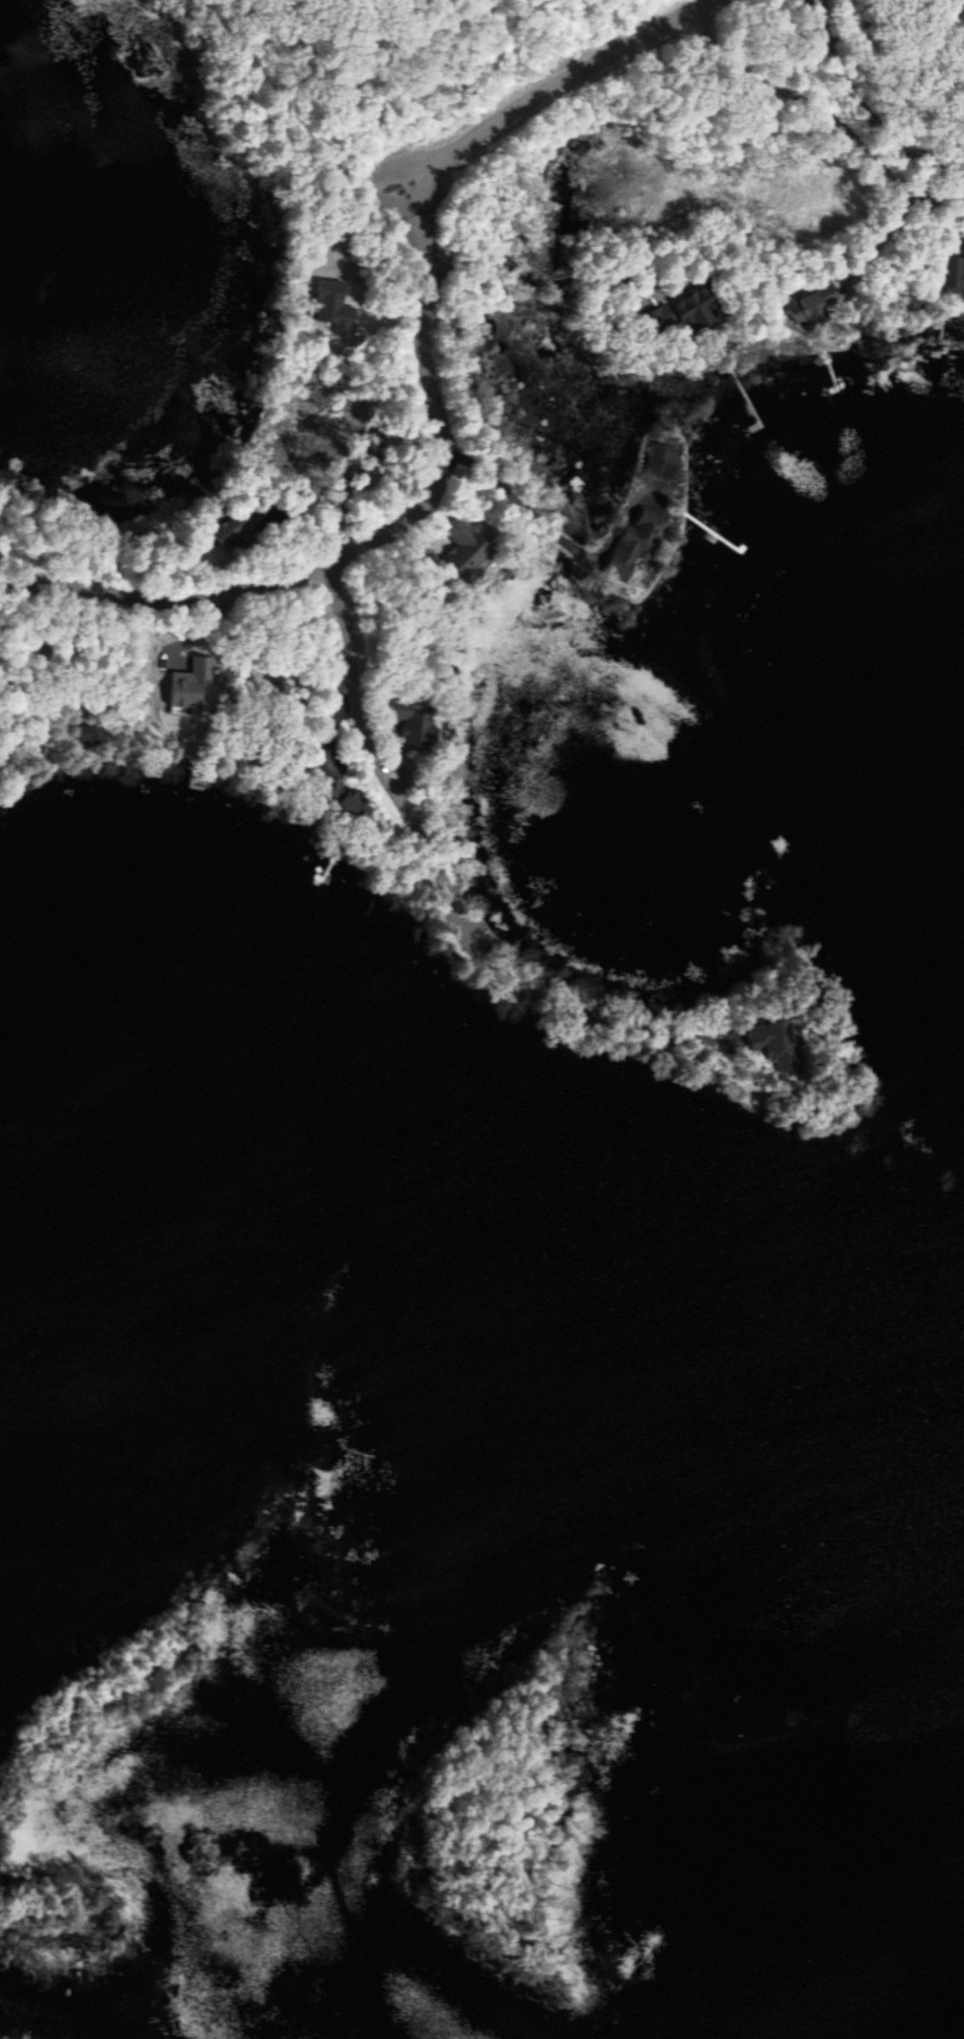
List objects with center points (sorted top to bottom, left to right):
road: (223, 20)
road: (553, 87)
road: (861, 109)
road: (310, 129)
building: (955, 273)
building: (809, 305)
building: (676, 312)
building: (663, 463)
building: (234, 531)
road: (379, 539)
building: (632, 546)
building: (458, 549)
building: (407, 726)
road: (367, 759)
road: (580, 1018)
building: (762, 1044)

